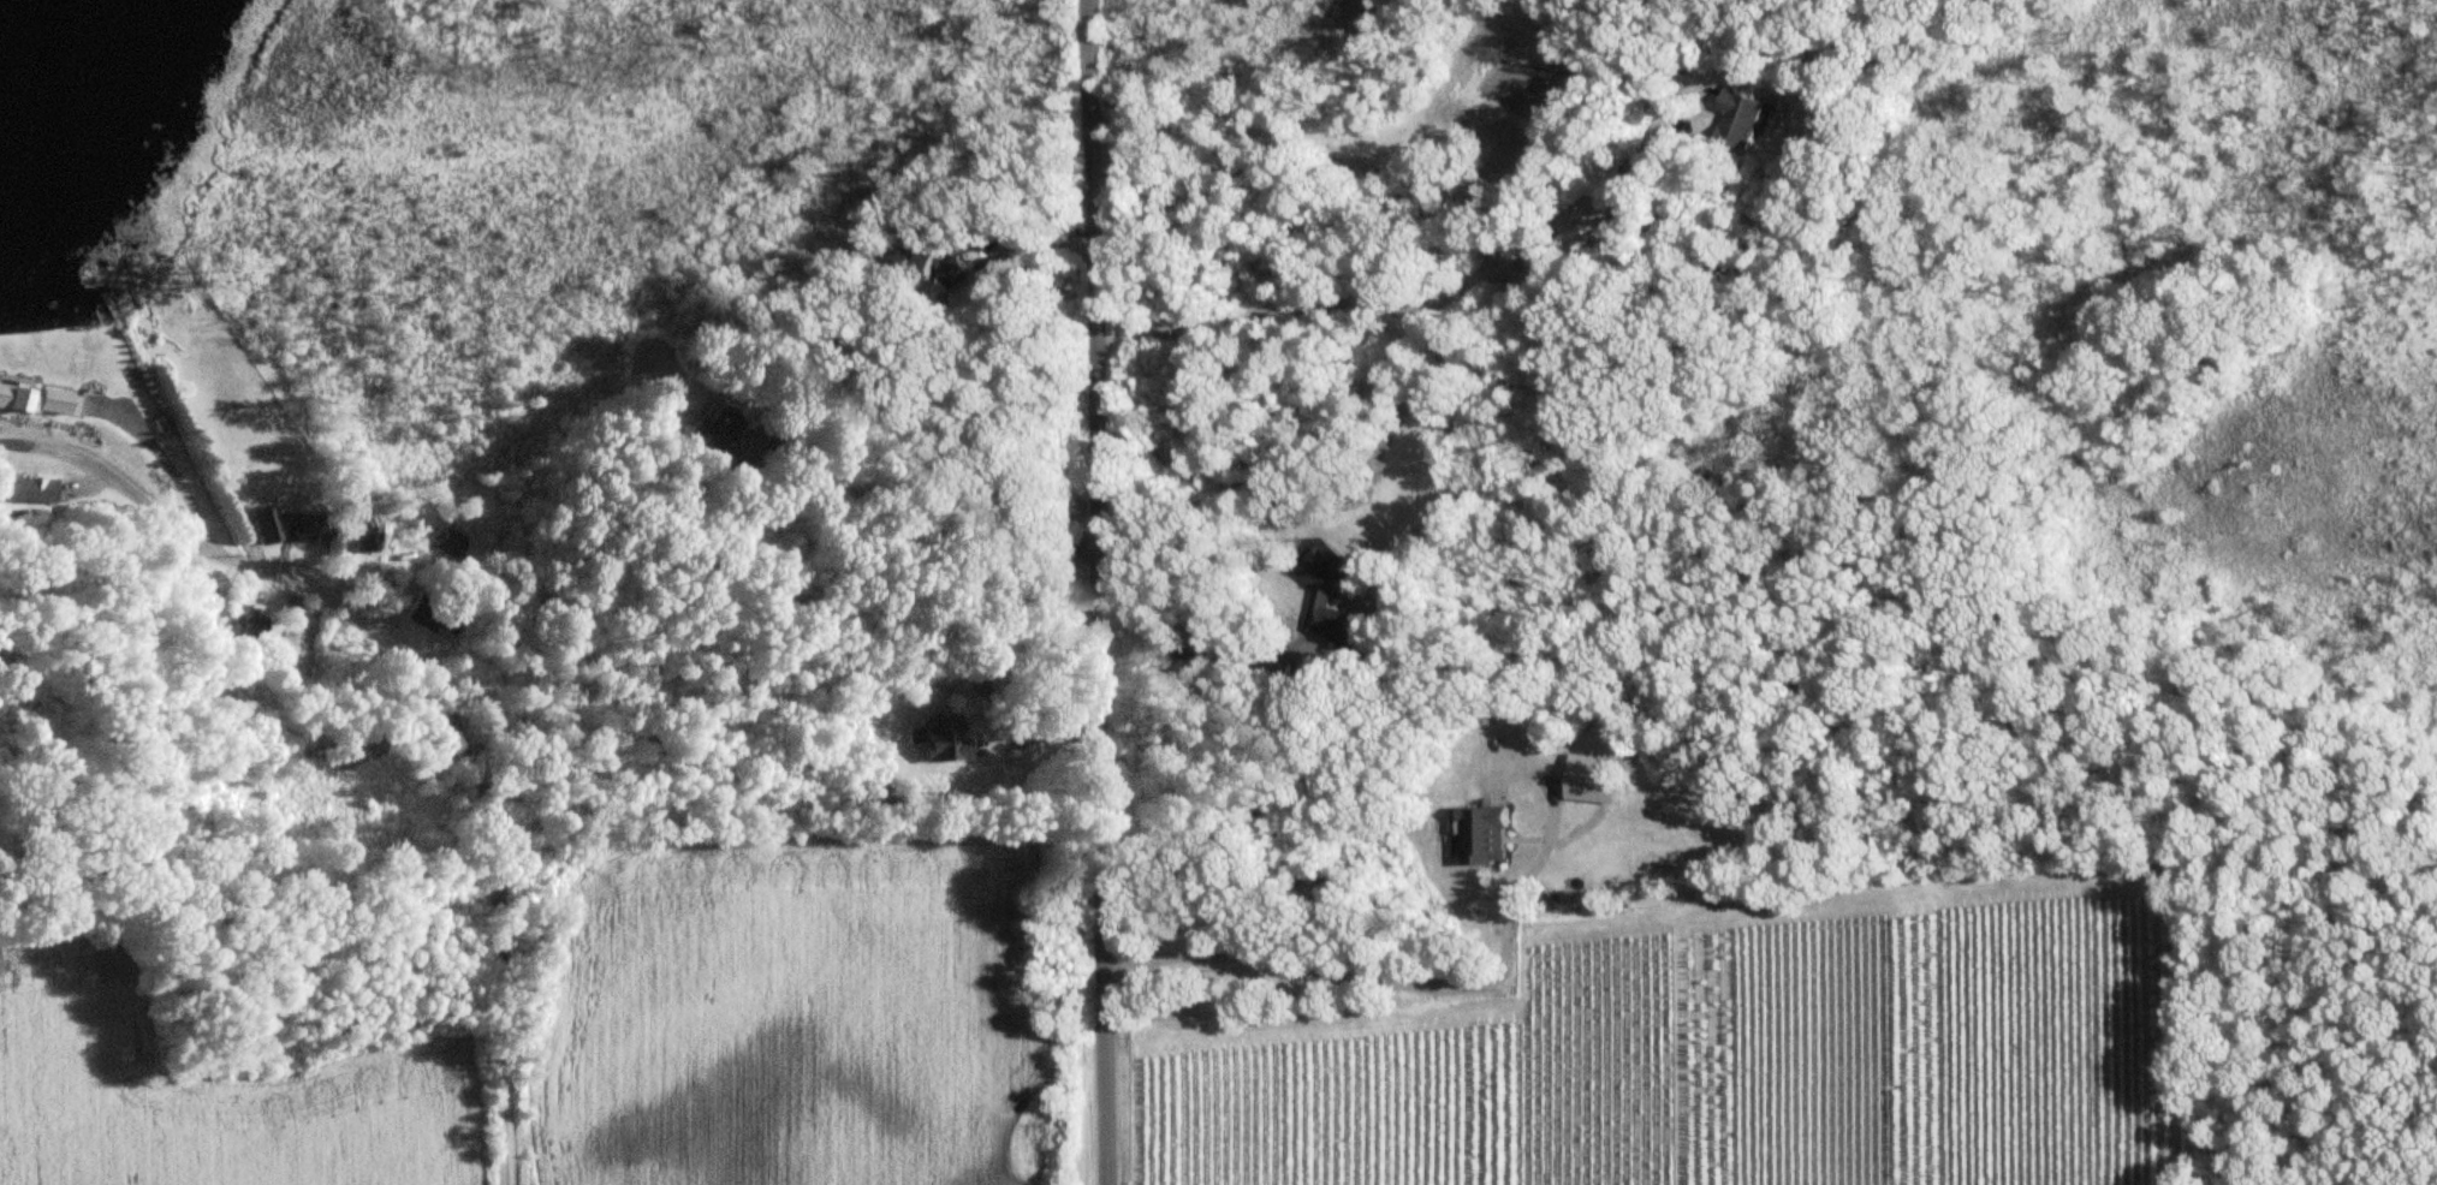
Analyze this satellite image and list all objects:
building: (1738, 120)
road: (1027, 248)
building: (910, 261)
building: (951, 270)
road: (1432, 306)
building: (35, 400)
building: (713, 439)
road: (166, 463)
building: (30, 490)
road: (941, 538)
building: (447, 544)
road: (1096, 591)
building: (1326, 591)
building: (201, 612)
building: (435, 618)
building: (252, 624)
road: (1193, 653)
road: (435, 686)
building: (941, 739)
road: (1034, 739)
building: (1484, 836)
road: (1426, 983)

